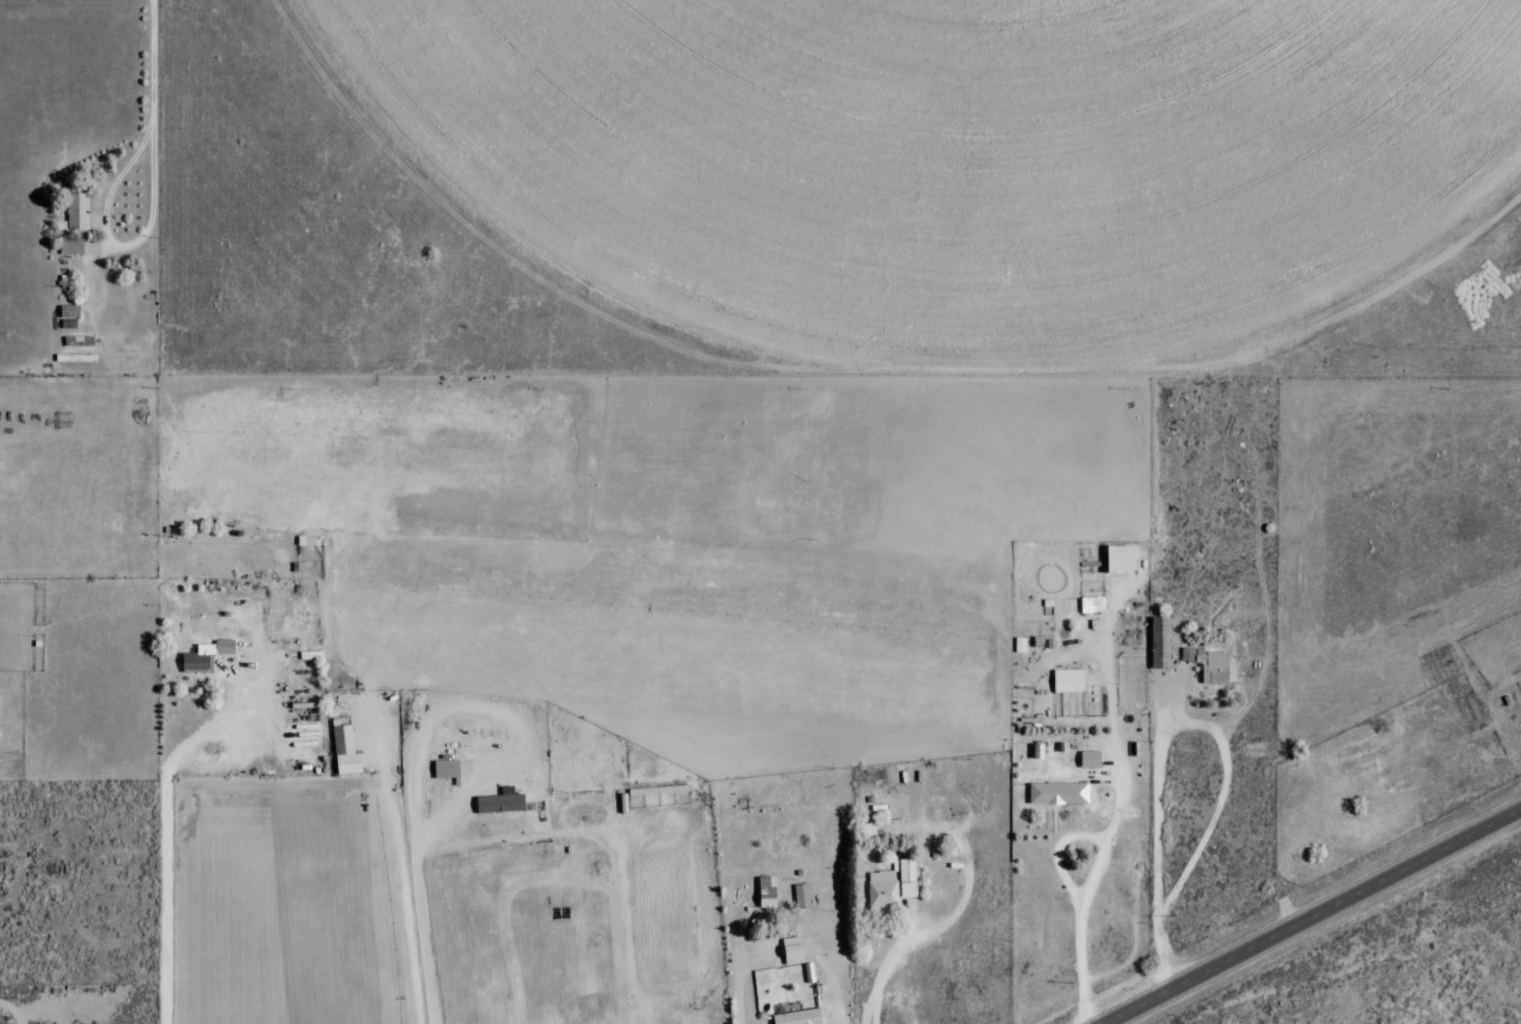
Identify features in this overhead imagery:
road: (151, 91)
building: (78, 211)
building: (71, 246)
building: (1120, 558)
building: (1092, 604)
building: (1038, 642)
building: (1160, 642)
building: (1020, 645)
building: (206, 654)
building: (311, 655)
building: (1209, 664)
building: (1068, 681)
building: (345, 750)
building: (1037, 751)
building: (1090, 760)
building: (445, 769)
building: (1058, 793)
building: (500, 802)
road: (186, 824)
building: (869, 829)
building: (906, 877)
building: (767, 888)
building: (882, 890)
building: (802, 896)
road: (1311, 916)
building: (792, 951)
building: (809, 973)
building: (799, 1017)

